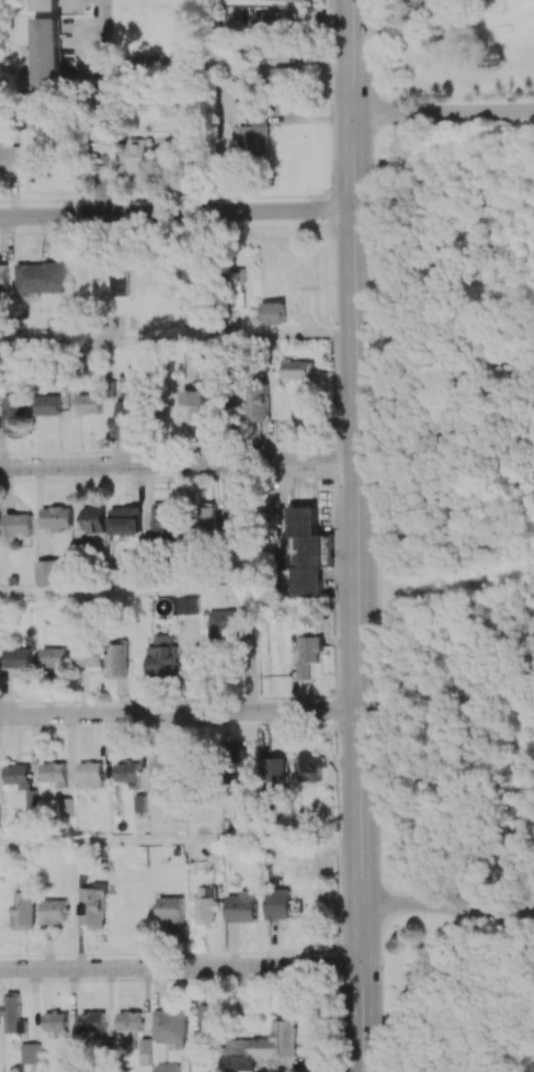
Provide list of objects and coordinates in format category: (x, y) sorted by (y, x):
building: (269, 0)
building: (42, 5)
road: (435, 16)
building: (280, 22)
building: (43, 56)
building: (288, 75)
road: (101, 108)
road: (443, 113)
building: (253, 135)
road: (217, 137)
park: (469, 140)
building: (10, 156)
building: (141, 157)
road: (529, 206)
road: (177, 213)
building: (3, 278)
building: (121, 278)
building: (238, 278)
building: (43, 279)
building: (271, 313)
road: (60, 342)
building: (297, 369)
building: (257, 402)
building: (91, 404)
building: (49, 405)
building: (196, 406)
building: (16, 415)
building: (126, 416)
road: (178, 464)
building: (204, 515)
building: (57, 518)
building: (94, 519)
building: (163, 519)
building: (126, 520)
building: (18, 524)
building: (227, 527)
road: (355, 535)
building: (303, 553)
building: (48, 572)
road: (73, 593)
building: (188, 606)
building: (228, 623)
building: (308, 654)
building: (91, 656)
building: (163, 656)
building: (55, 657)
building: (18, 658)
building: (120, 661)
park: (475, 674)
road: (179, 713)
building: (238, 759)
building: (309, 768)
building: (276, 772)
building: (55, 774)
building: (128, 774)
building: (91, 775)
building: (163, 775)
building: (22, 783)
building: (141, 803)
building: (66, 808)
road: (129, 839)
building: (279, 904)
building: (205, 905)
building: (93, 906)
building: (242, 906)
road: (446, 906)
building: (24, 909)
building: (170, 910)
building: (54, 911)
road: (181, 968)
building: (13, 1014)
building: (208, 1019)
building: (55, 1022)
building: (92, 1022)
building: (170, 1026)
building: (128, 1029)
building: (264, 1047)
building: (196, 1052)
building: (31, 1053)
building: (166, 1068)

